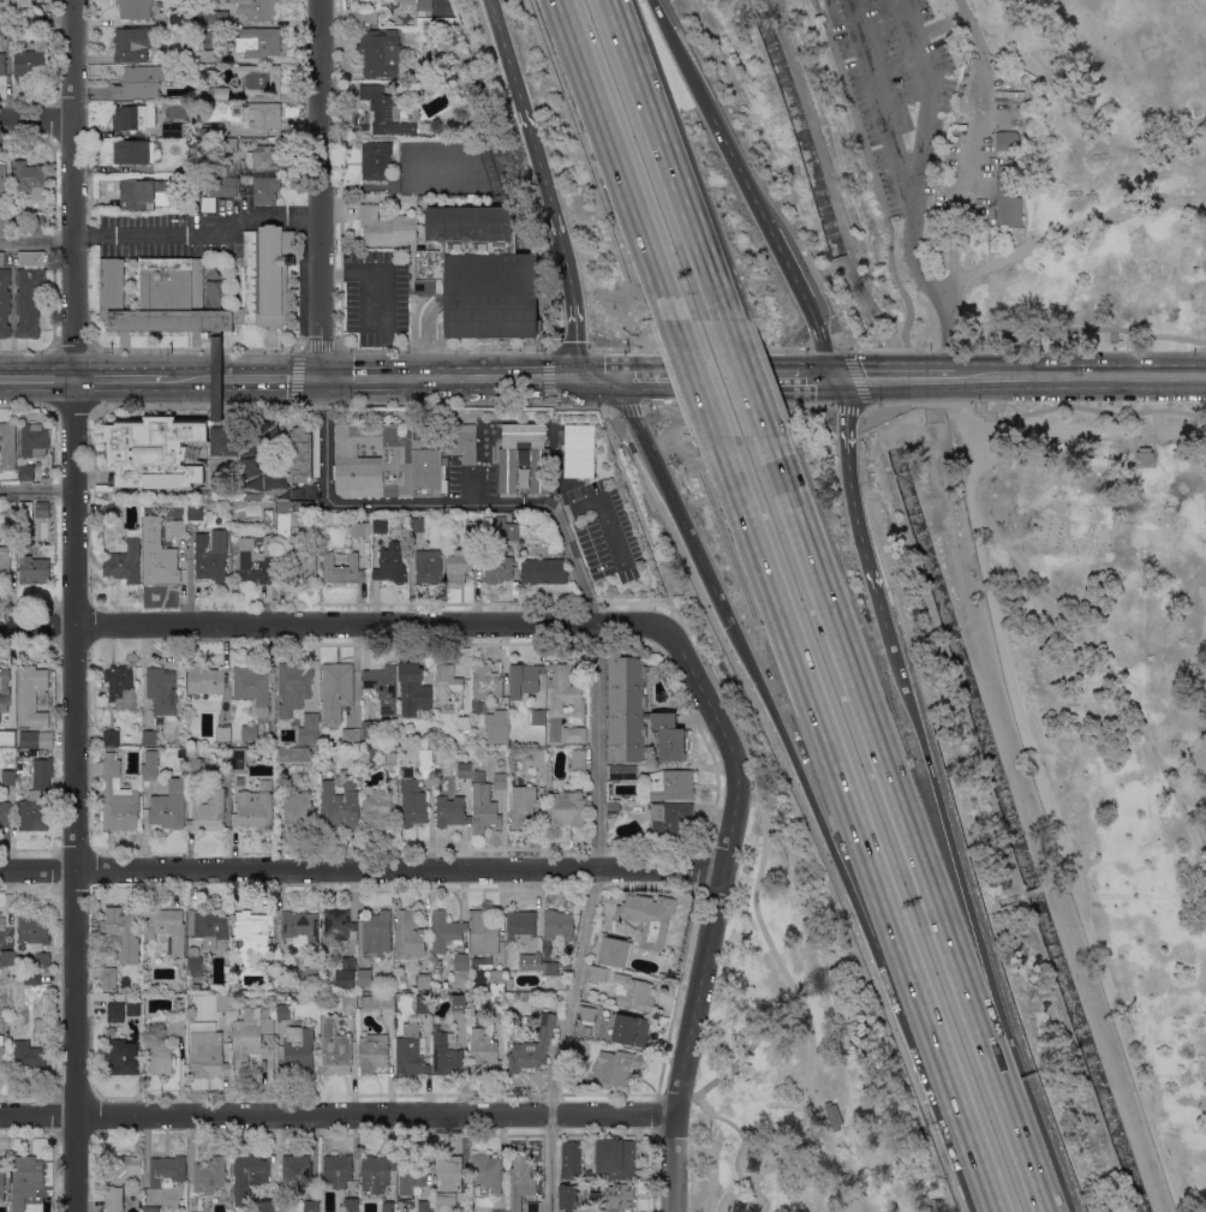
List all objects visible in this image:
building: (408, 1)
building: (426, 4)
building: (135, 8)
building: (259, 8)
building: (213, 16)
building: (365, 16)
building: (177, 17)
building: (408, 20)
building: (5, 23)
road: (938, 25)
road: (971, 25)
building: (259, 41)
building: (133, 43)
road: (501, 43)
building: (380, 53)
road: (680, 54)
building: (214, 55)
building: (2, 64)
building: (29, 64)
building: (136, 80)
building: (263, 80)
road: (930, 89)
parking lot: (896, 90)
building: (216, 92)
road: (874, 92)
building: (386, 112)
building: (265, 117)
building: (135, 118)
road: (36, 119)
building: (175, 130)
building: (216, 130)
building: (203, 131)
parking lot: (978, 139)
building: (1007, 142)
building: (231, 144)
building: (137, 151)
building: (264, 157)
road: (620, 157)
road: (665, 159)
park: (1015, 159)
building: (376, 160)
building: (190, 167)
road: (739, 168)
road: (871, 173)
road: (961, 175)
building: (2, 177)
building: (29, 178)
building: (227, 185)
road: (543, 185)
road: (72, 189)
building: (267, 189)
road: (318, 189)
building: (1011, 192)
building: (144, 193)
building: (404, 198)
building: (37, 221)
building: (5, 222)
building: (388, 227)
building: (471, 228)
road: (1074, 228)
road: (197, 232)
road: (36, 240)
road: (911, 245)
building: (2, 258)
road: (789, 268)
building: (171, 287)
building: (482, 291)
building: (29, 293)
building: (213, 294)
building: (5, 301)
road: (573, 329)
road: (1021, 330)
road: (945, 335)
road: (428, 336)
traffic signals: (574, 340)
road: (822, 344)
road: (825, 346)
road: (195, 347)
road: (318, 347)
road: (71, 348)
road: (697, 348)
road: (25, 350)
road: (442, 351)
road: (547, 357)
road: (730, 375)
building: (215, 376)
road: (298, 376)
road: (498, 376)
traffic signals: (537, 376)
traffic signals: (603, 376)
road: (698, 376)
road: (811, 376)
traffic signals: (813, 376)
traffic signals: (865, 376)
road: (890, 376)
road: (1075, 376)
road: (187, 377)
road: (264, 377)
traffic signals: (322, 377)
road: (745, 377)
road: (36, 378)
road: (120, 378)
road: (859, 390)
road: (454, 404)
road: (739, 405)
road: (627, 407)
road: (1033, 411)
traffic signals: (846, 413)
road: (1153, 425)
building: (524, 432)
building: (34, 440)
building: (464, 442)
building: (276, 443)
building: (7, 444)
building: (167, 449)
building: (578, 450)
building: (303, 454)
building: (1145, 454)
building: (389, 460)
building: (281, 461)
building: (507, 470)
building: (539, 470)
building: (26, 472)
building: (521, 477)
building: (46, 479)
building: (274, 479)
building: (220, 488)
road: (36, 489)
road: (850, 490)
building: (301, 491)
building: (249, 495)
road: (673, 500)
road: (371, 502)
building: (285, 506)
building: (305, 506)
road: (637, 507)
building: (8, 508)
building: (25, 509)
building: (42, 509)
building: (112, 509)
building: (195, 512)
building: (268, 517)
building: (288, 524)
building: (178, 525)
building: (380, 525)
building: (416, 525)
building: (360, 529)
building: (474, 529)
building: (503, 529)
building: (210, 556)
road: (572, 557)
building: (125, 560)
building: (257, 560)
building: (159, 562)
building: (5, 563)
building: (390, 563)
building: (304, 565)
building: (459, 566)
building: (426, 567)
building: (342, 568)
building: (498, 568)
building: (34, 569)
building: (544, 571)
road: (633, 602)
road: (333, 622)
road: (1111, 673)
building: (340, 677)
building: (524, 679)
building: (207, 680)
building: (297, 681)
building: (4, 682)
building: (253, 682)
building: (486, 682)
building: (382, 686)
building: (121, 687)
building: (449, 687)
building: (413, 688)
building: (162, 689)
building: (565, 689)
road: (720, 689)
building: (31, 695)
building: (479, 706)
building: (263, 710)
building: (637, 715)
building: (538, 717)
park: (1098, 720)
building: (353, 722)
building: (464, 723)
building: (311, 726)
building: (497, 727)
building: (370, 729)
building: (223, 733)
building: (246, 734)
building: (574, 734)
building: (7, 736)
building: (130, 736)
building: (112, 738)
building: (149, 738)
building: (354, 739)
building: (36, 740)
building: (192, 752)
building: (294, 754)
building: (370, 756)
building: (390, 759)
building: (538, 759)
road: (837, 759)
building: (239, 760)
building: (578, 760)
building: (195, 765)
building: (428, 765)
road: (885, 768)
building: (465, 770)
building: (150, 771)
building: (623, 772)
building: (8, 778)
building: (501, 780)
building: (670, 784)
road: (74, 794)
building: (37, 798)
building: (119, 798)
building: (339, 802)
building: (413, 804)
building: (483, 805)
building: (523, 806)
building: (256, 807)
building: (613, 807)
building: (376, 808)
building: (567, 808)
building: (295, 810)
building: (168, 811)
building: (209, 811)
building: (452, 811)
road: (1050, 811)
building: (5, 813)
building: (669, 822)
road: (954, 849)
road: (834, 859)
road: (360, 868)
road: (1061, 884)
road: (1028, 891)
road: (1141, 896)
road: (714, 912)
building: (649, 914)
road: (589, 918)
building: (2, 921)
building: (121, 923)
building: (559, 924)
building: (211, 926)
building: (253, 926)
building: (301, 926)
building: (339, 926)
building: (521, 927)
building: (167, 929)
building: (34, 930)
building: (447, 931)
building: (376, 933)
building: (484, 935)
building: (408, 936)
building: (652, 945)
building: (614, 951)
building: (8, 957)
building: (43, 959)
building: (270, 961)
building: (535, 961)
building: (196, 965)
building: (461, 968)
building: (550, 968)
building: (346, 973)
building: (596, 973)
building: (437, 975)
building: (32, 977)
building: (365, 977)
building: (109, 978)
building: (310, 978)
building: (425, 980)
building: (400, 981)
building: (496, 983)
building: (437, 985)
building: (195, 987)
road: (796, 992)
building: (635, 995)
building: (281, 997)
building: (223, 1002)
building: (350, 1002)
building: (377, 1002)
building: (424, 1003)
building: (459, 1004)
building: (133, 1009)
building: (115, 1011)
building: (283, 1011)
building: (500, 1013)
building: (587, 1013)
building: (148, 1021)
building: (174, 1028)
building: (631, 1031)
road: (760, 1031)
building: (251, 1033)
building: (118, 1034)
building: (300, 1047)
building: (335, 1047)
building: (532, 1049)
building: (580, 1050)
building: (412, 1051)
building: (483, 1051)
building: (374, 1052)
building: (1, 1053)
building: (29, 1055)
building: (208, 1055)
building: (447, 1055)
building: (123, 1057)
building: (160, 1058)
park: (786, 1064)
building: (617, 1068)
road: (687, 1094)
road: (338, 1114)
building: (834, 1115)
road: (740, 1133)
road: (805, 1140)
road: (977, 1147)
road: (1026, 1156)
building: (572, 1159)
building: (615, 1159)
road: (712, 1162)
building: (338, 1170)
building: (167, 1171)
building: (297, 1172)
building: (376, 1172)
building: (488, 1172)
building: (449, 1174)
building: (210, 1175)
building: (28, 1176)
building: (249, 1176)
building: (410, 1176)
building: (1, 1178)
building: (120, 1180)
building: (520, 1183)
building: (568, 1196)
building: (615, 1196)
building: (351, 1205)
building: (268, 1206)
building: (311, 1206)
building: (389, 1206)
building: (425, 1206)
building: (535, 1207)
building: (151, 1208)
building: (190, 1211)
building: (462, 1211)
building: (500, 1211)

